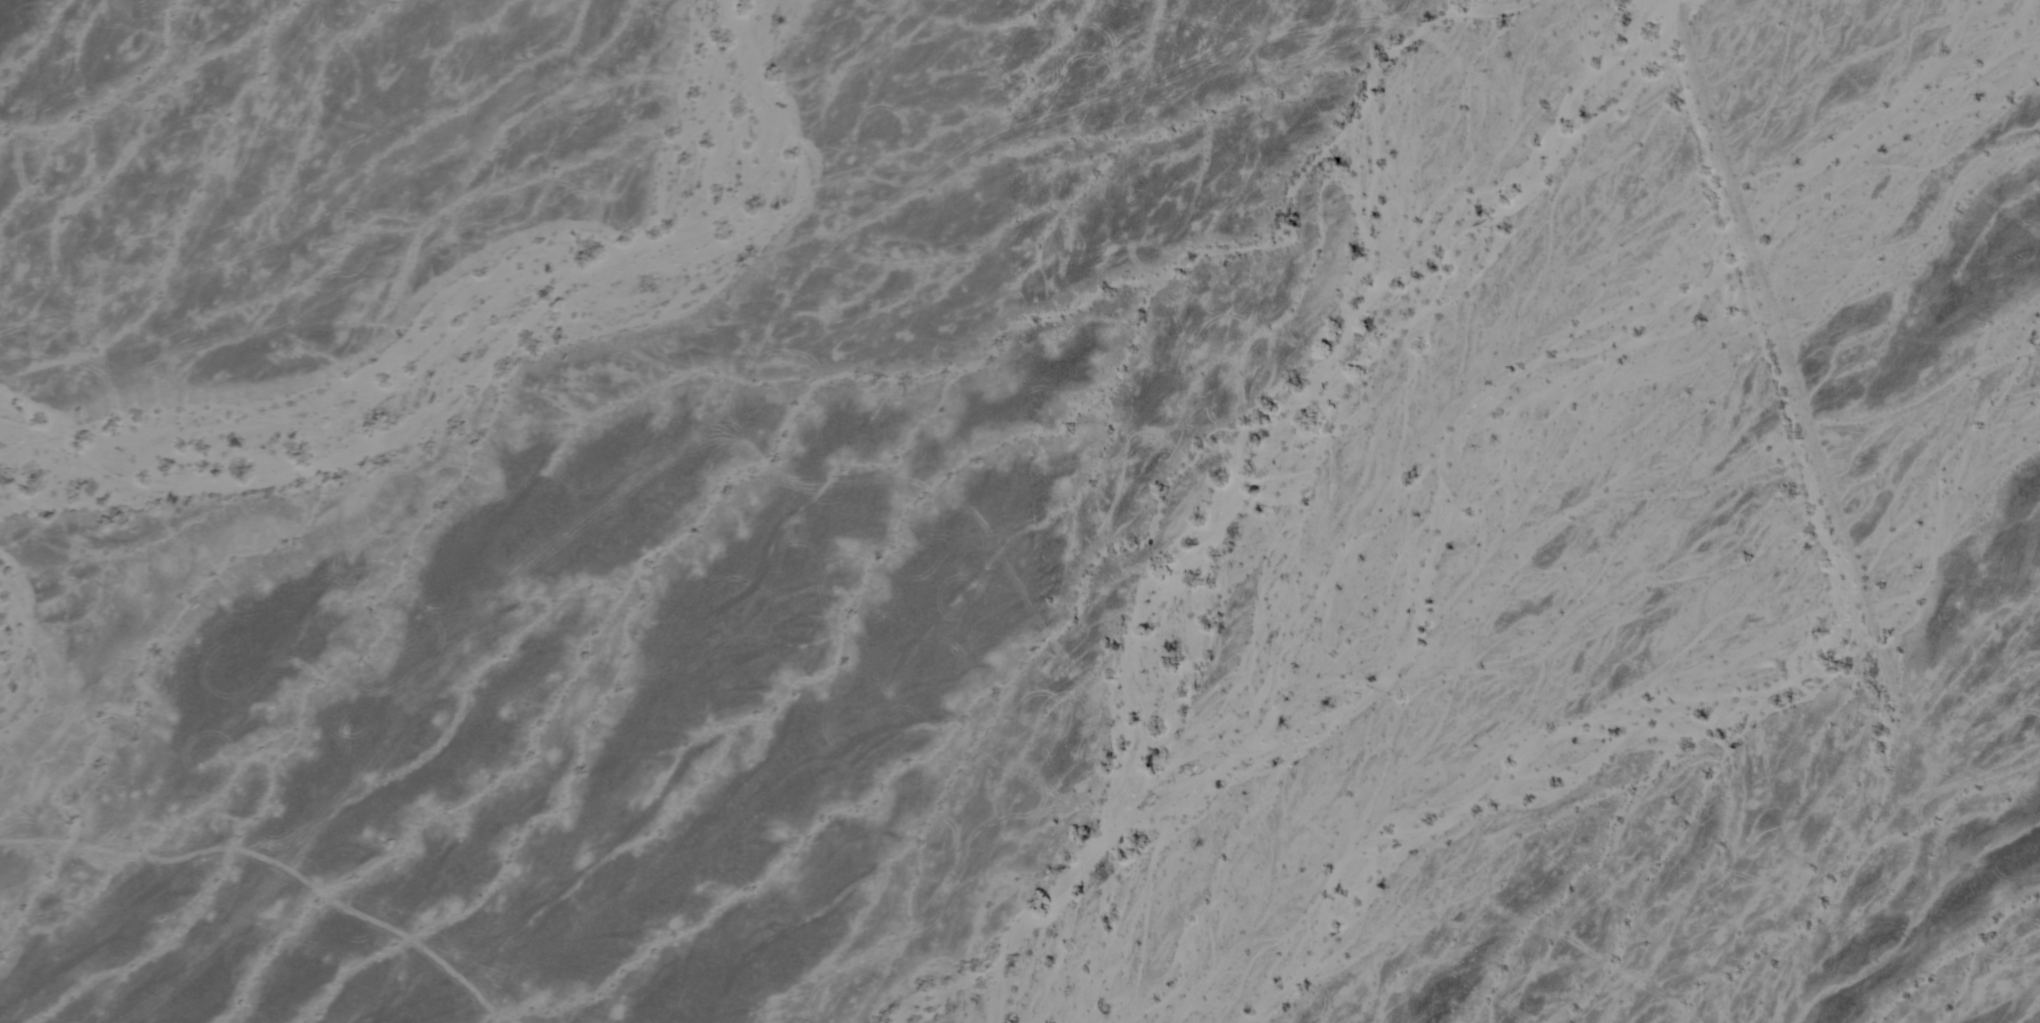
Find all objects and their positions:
road: (279, 868)

